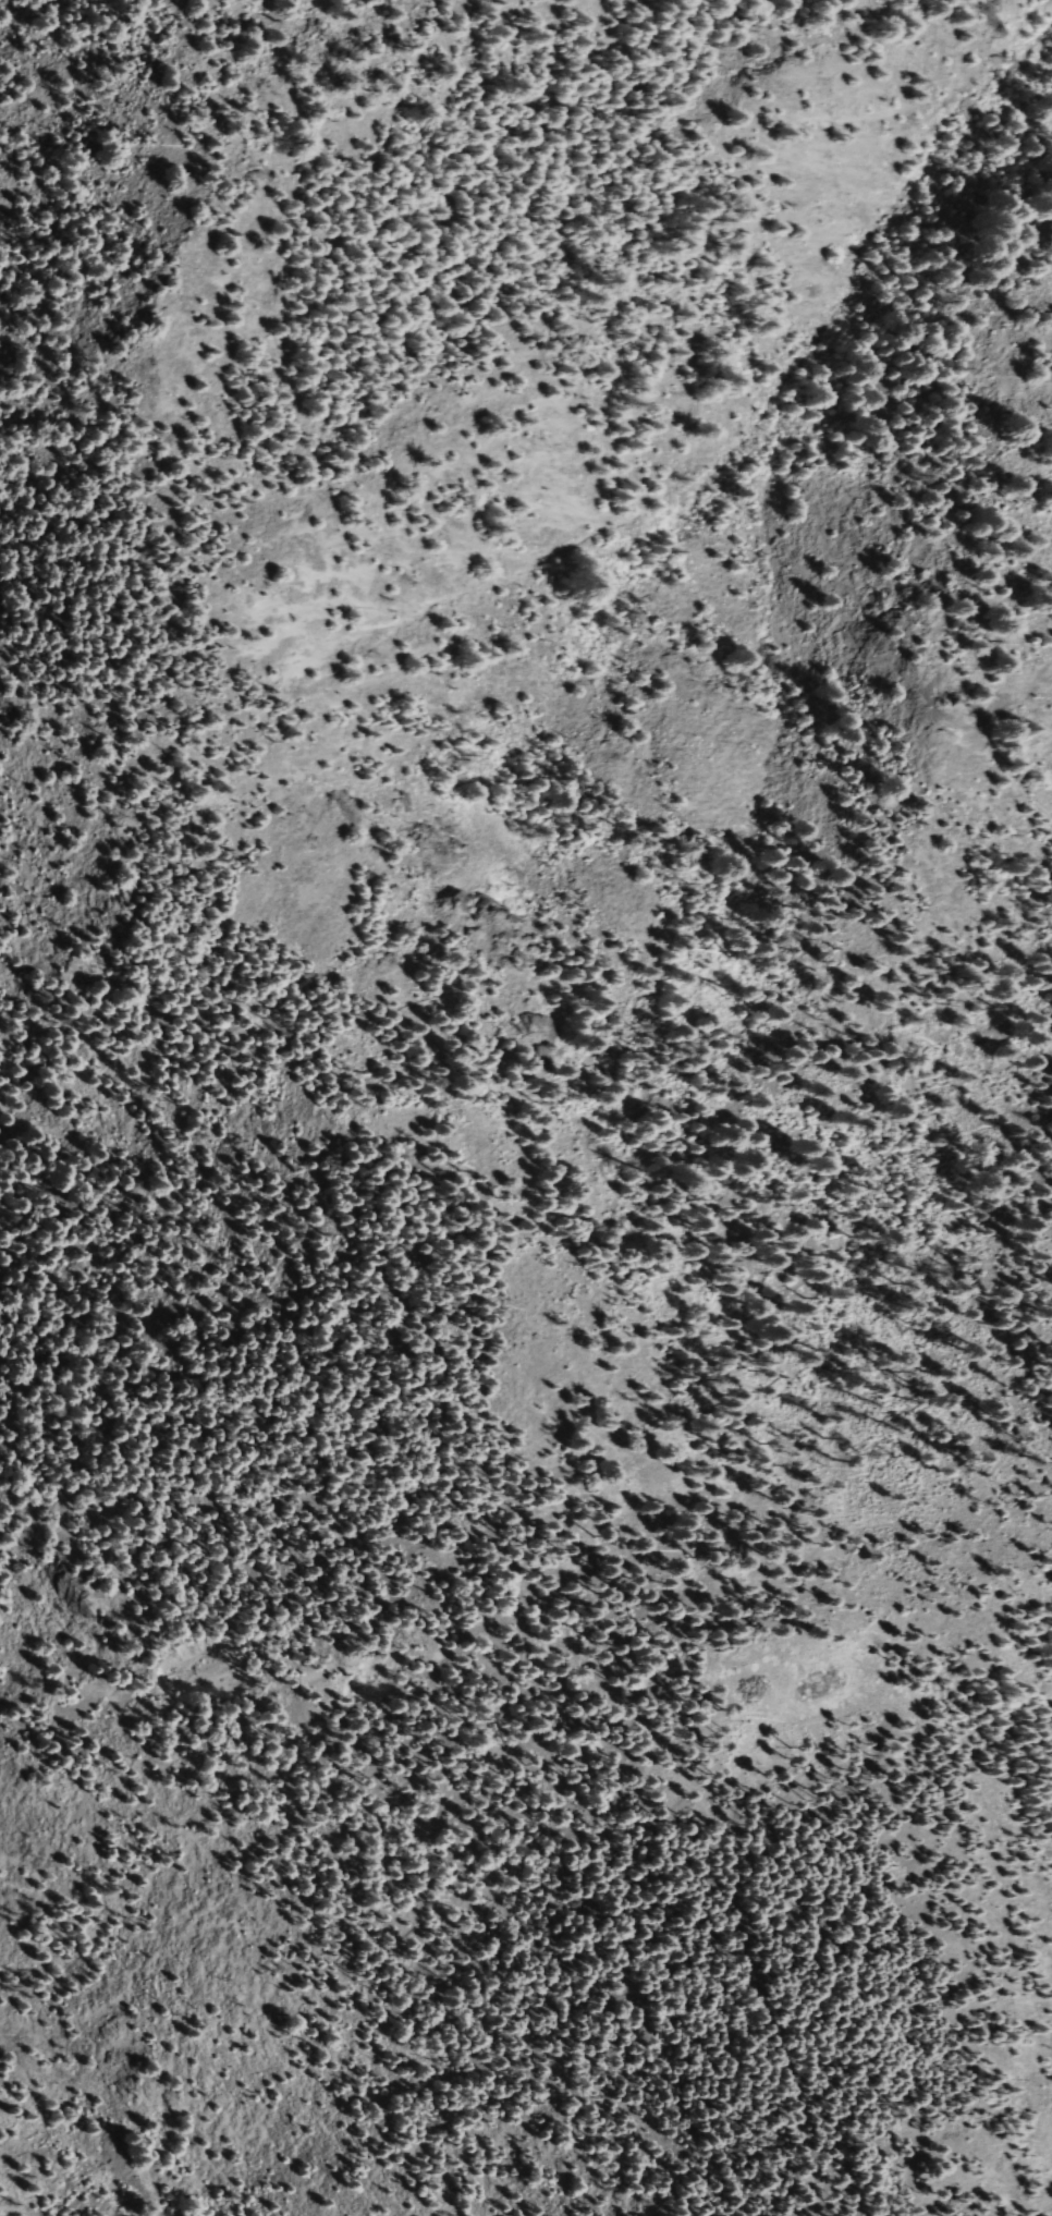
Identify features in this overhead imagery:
road: (720, 1900)

